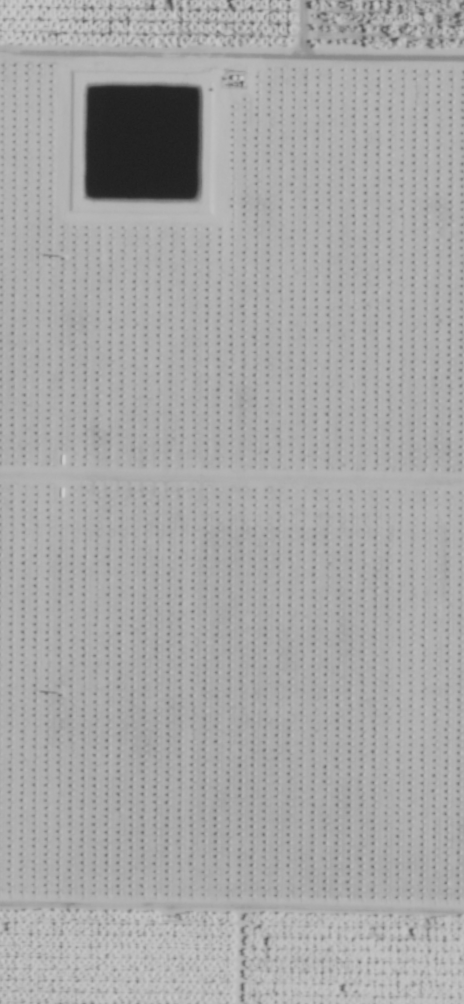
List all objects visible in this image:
road: (232, 64)

